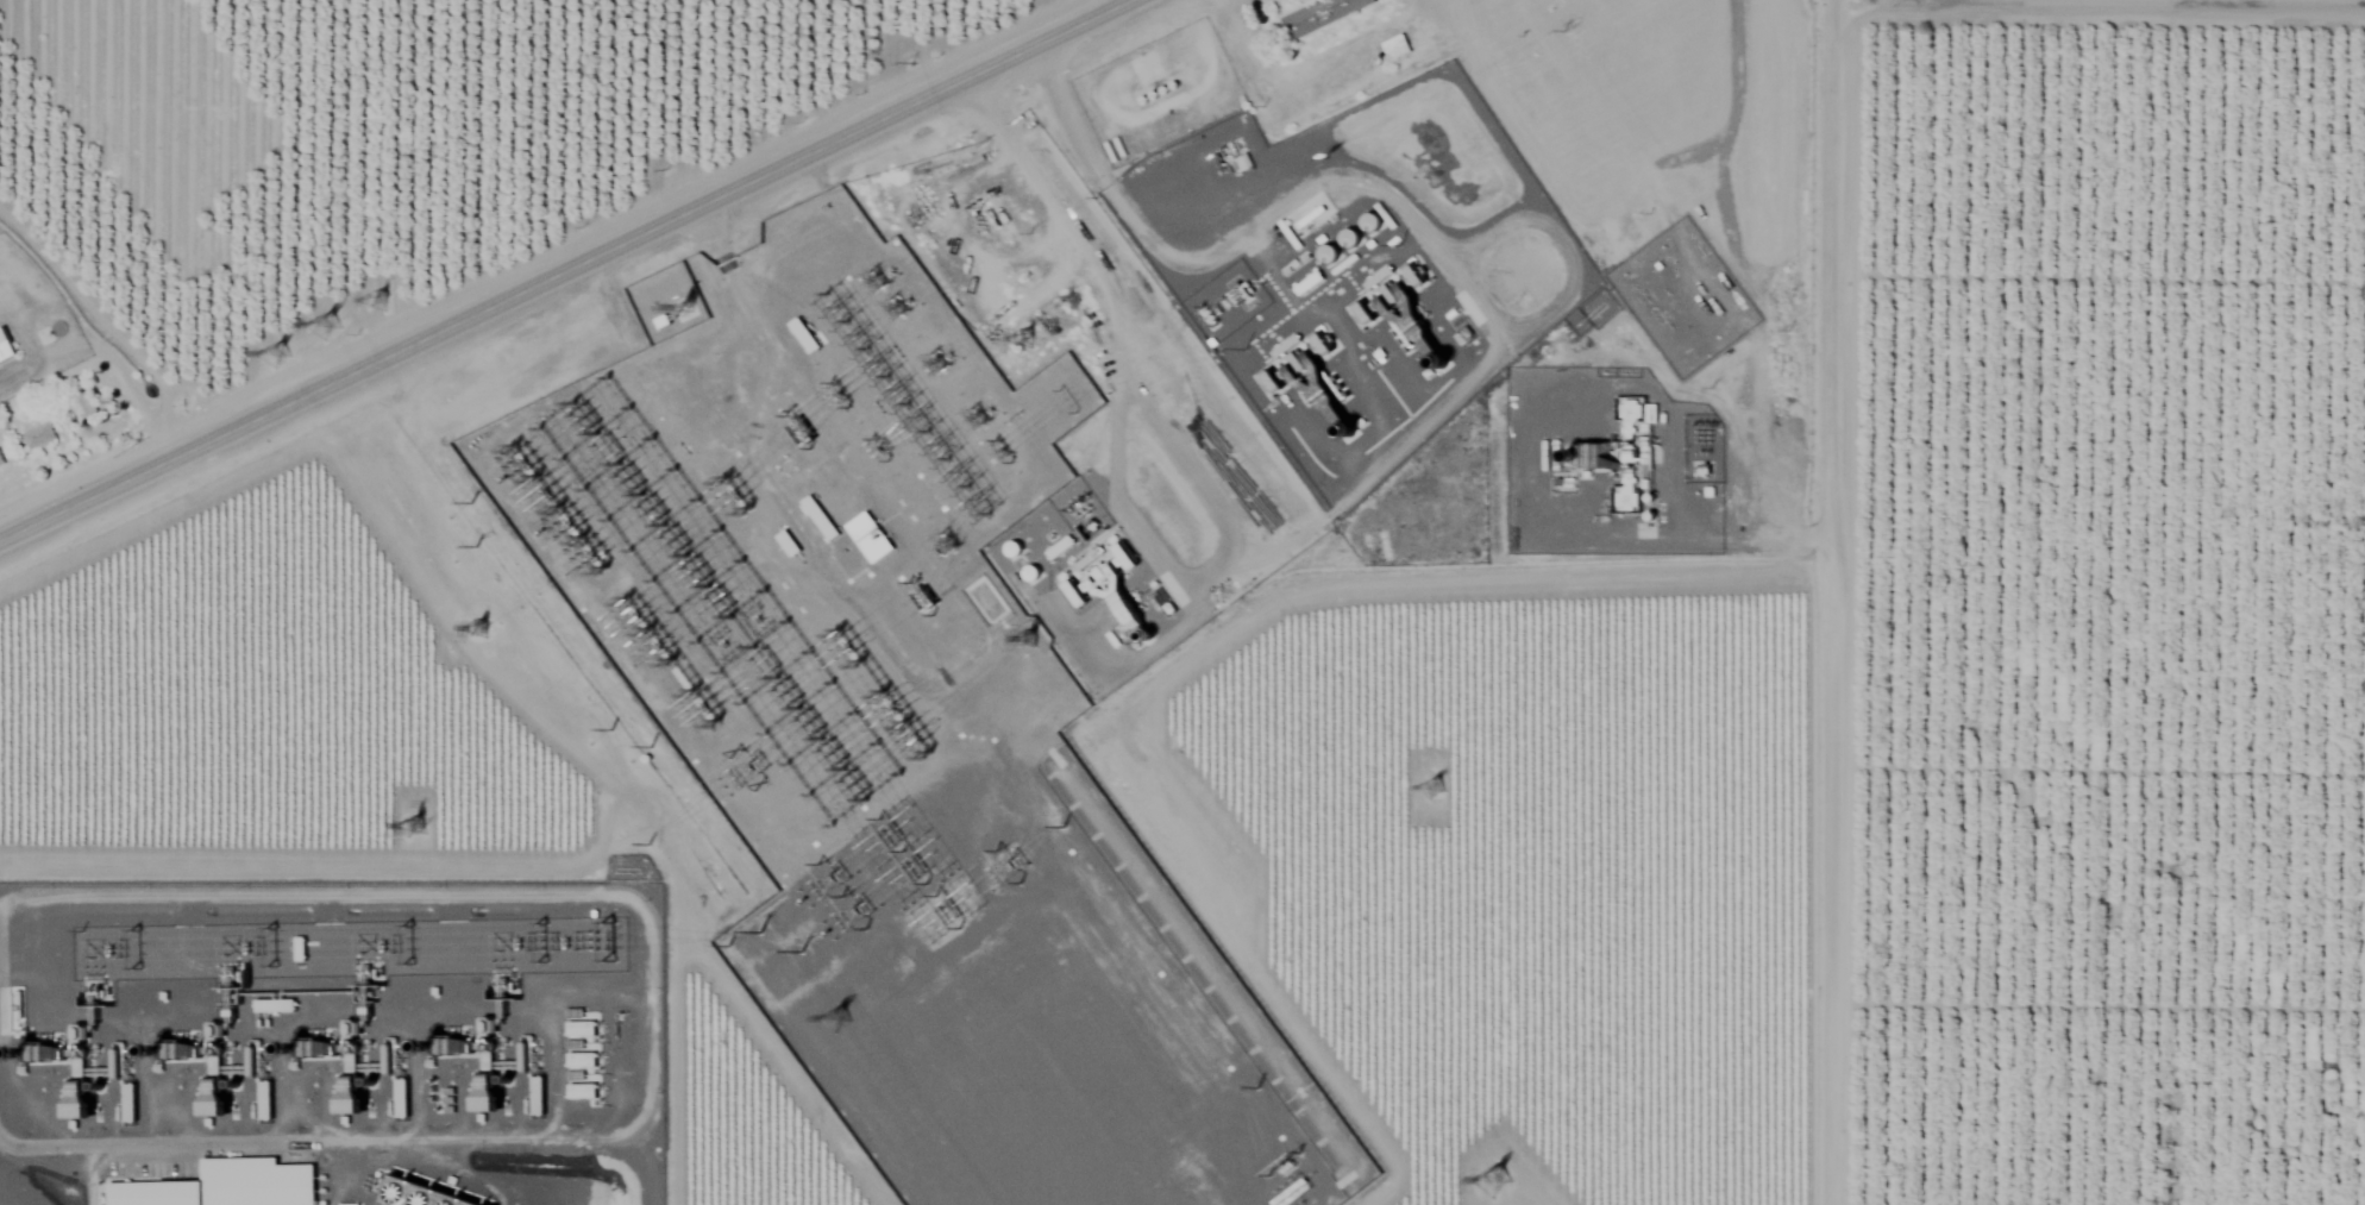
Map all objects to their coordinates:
building: (1318, 13)
power tower: (912, 61)
power tower: (672, 169)
power tower: (985, 208)
building: (1329, 251)
power plant: (1357, 264)
road: (526, 278)
power tower: (388, 309)
building: (1404, 316)
road: (101, 333)
building: (804, 333)
power tower: (340, 334)
power tower: (1027, 337)
building: (5, 344)
power tower: (290, 358)
chimney: (1436, 363)
power tower: (1067, 401)
building: (83, 404)
chimney: (1344, 431)
building: (39, 433)
chimney: (1567, 456)
building: (1, 458)
power plant: (1610, 463)
building: (1626, 494)
power tower: (479, 502)
building: (820, 515)
building: (870, 535)
building: (788, 540)
building: (1059, 545)
power tower: (478, 553)
power plant: (1098, 575)
building: (1109, 586)
road: (1809, 602)
chimney: (1146, 636)
power tower: (1035, 639)
power tower: (484, 644)
power substation: (908, 738)
power tower: (697, 778)
power tower: (1437, 790)
power tower: (421, 831)
power tower: (789, 879)
power tower: (753, 941)
power substation: (351, 953)
building: (274, 1004)
building: (581, 1027)
power tower: (855, 1028)
power plant: (345, 1037)
chimney: (302, 1042)
chimney: (439, 1043)
chimney: (26, 1048)
chimney: (167, 1048)
building: (582, 1057)
building: (485, 1063)
building: (214, 1085)
building: (79, 1090)
building: (582, 1090)
building: (351, 1093)
building: (538, 1094)
building: (488, 1096)
building: (128, 1102)
building: (401, 1103)
power tower: (1499, 1180)
building: (226, 1185)
building: (424, 1192)

